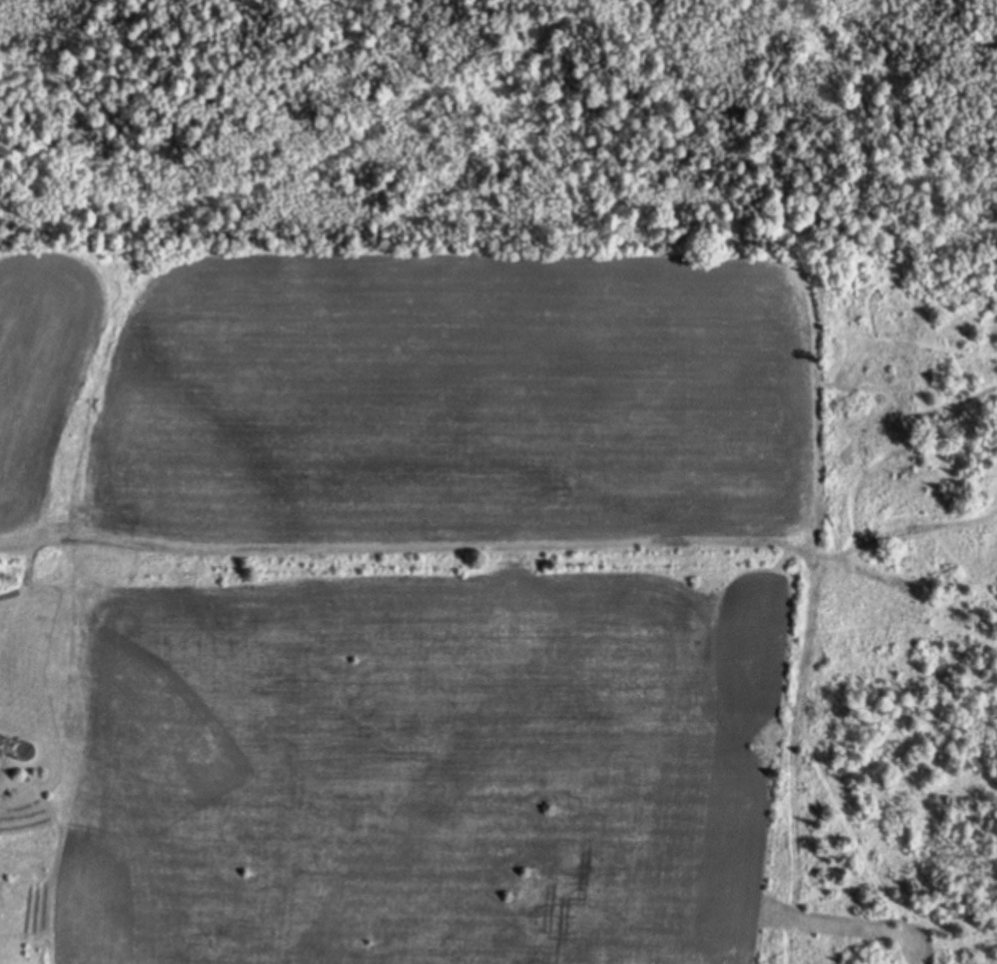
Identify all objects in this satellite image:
building: (0, 736)

